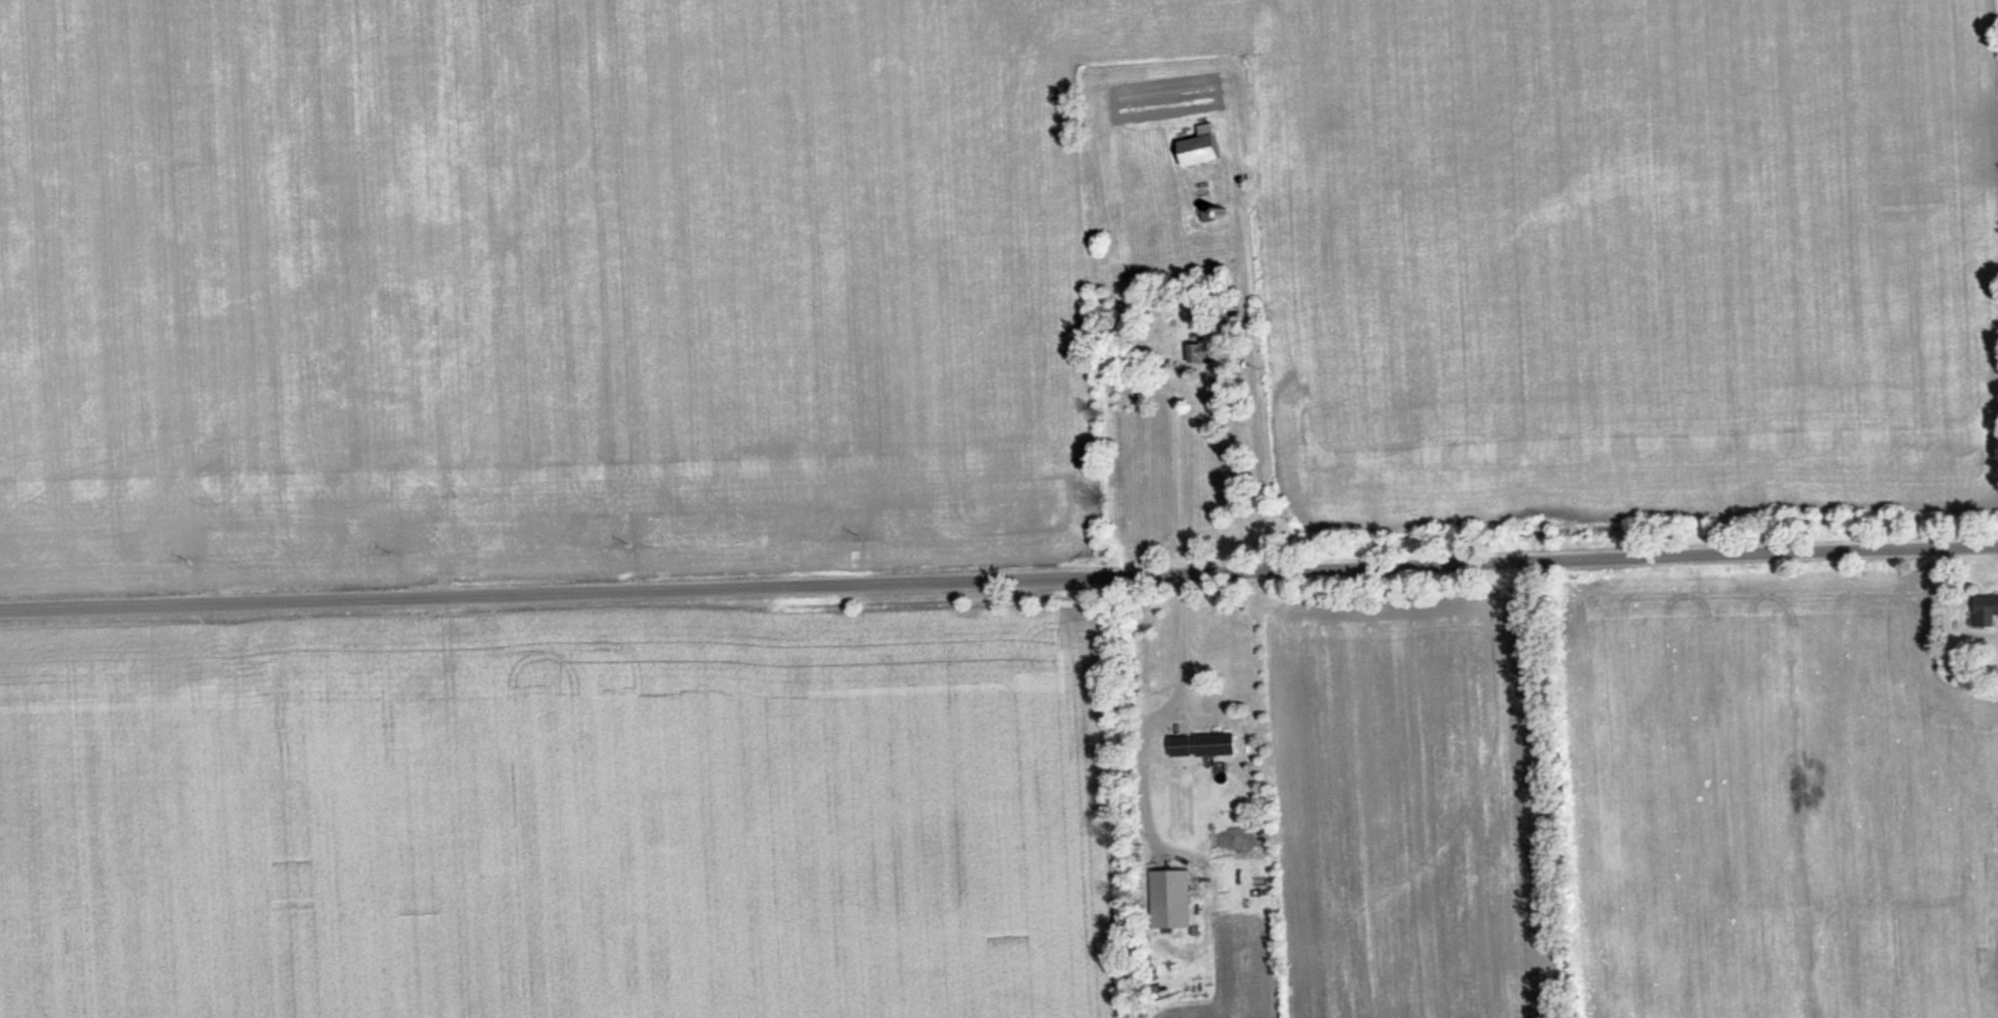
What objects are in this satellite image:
building: (1202, 149)
building: (1206, 347)
road: (998, 574)
building: (1986, 611)
building: (1205, 746)
building: (1172, 887)

